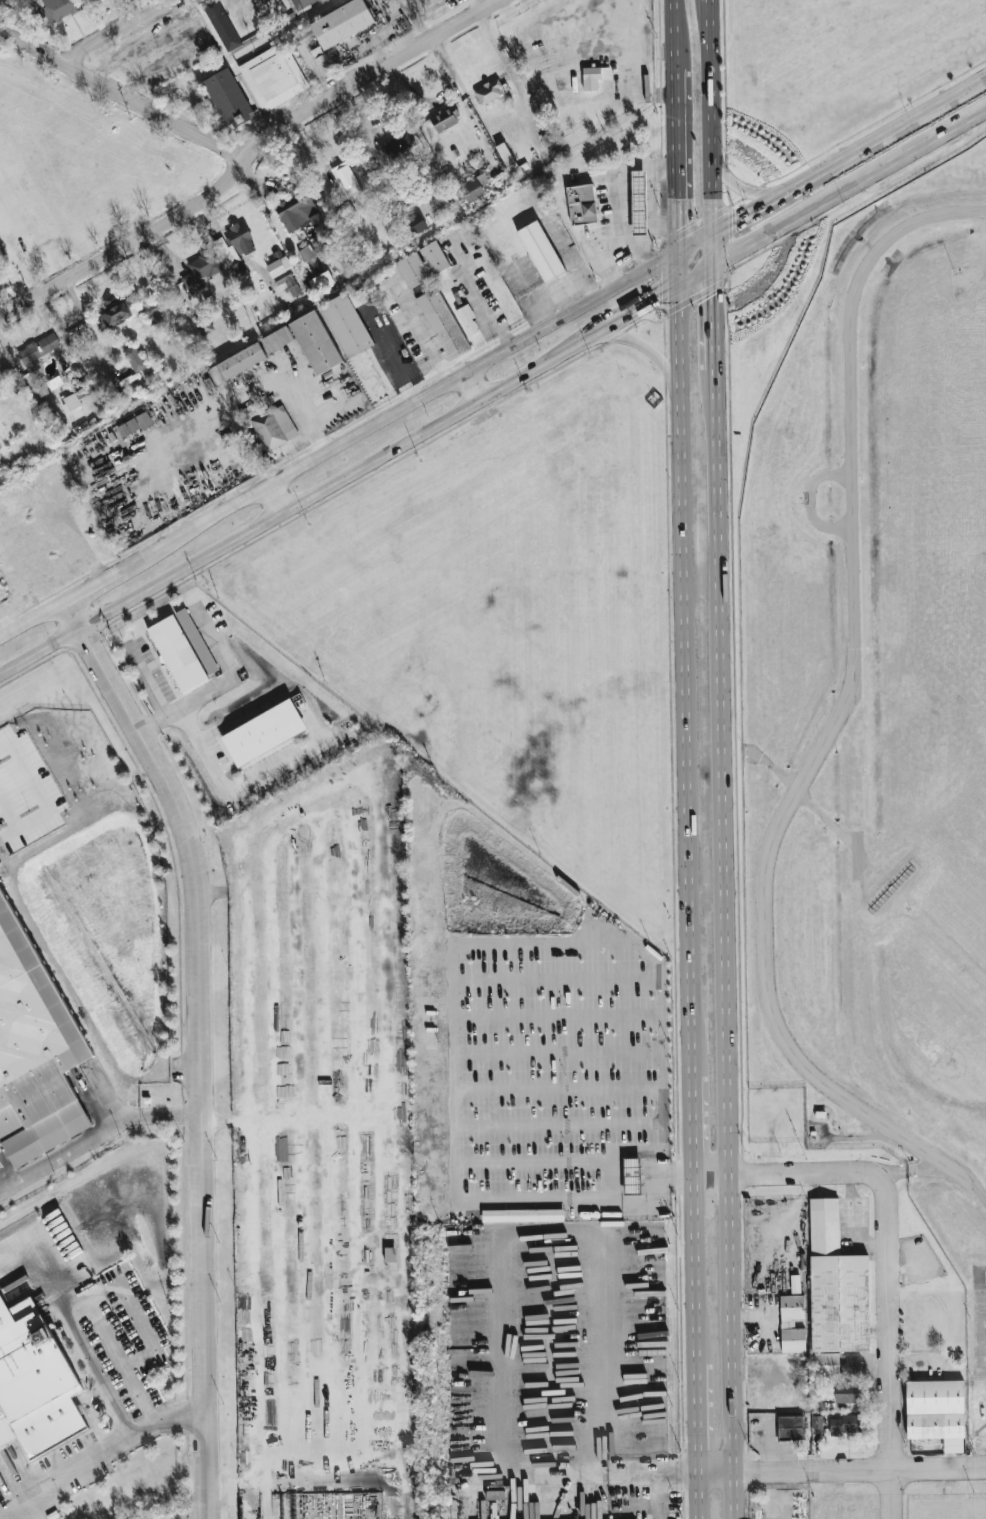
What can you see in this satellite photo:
building: (90, 1)
building: (300, 3)
building: (58, 8)
road: (704, 9)
building: (339, 22)
road: (189, 27)
road: (674, 28)
road: (118, 32)
building: (322, 61)
road: (126, 69)
building: (248, 72)
building: (594, 76)
road: (713, 83)
building: (490, 90)
road: (122, 95)
road: (940, 103)
building: (444, 118)
building: (398, 144)
road: (676, 153)
road: (250, 158)
building: (508, 159)
road: (839, 160)
building: (345, 178)
road: (713, 184)
building: (472, 189)
road: (745, 191)
road: (831, 194)
road: (617, 196)
building: (643, 204)
gas station: (643, 204)
building: (586, 206)
road: (652, 206)
road: (749, 210)
building: (300, 212)
road: (713, 215)
building: (414, 222)
traffic signals: (714, 229)
road: (652, 237)
building: (240, 238)
road: (714, 245)
building: (546, 250)
traffic signals: (678, 250)
building: (306, 252)
building: (439, 259)
road: (603, 259)
traffic signals: (715, 261)
building: (201, 268)
road: (678, 268)
building: (238, 269)
building: (418, 272)
building: (320, 279)
building: (287, 281)
traffic signals: (679, 286)
road: (643, 307)
building: (154, 309)
road: (481, 310)
building: (117, 313)
road: (717, 315)
building: (472, 321)
building: (352, 323)
building: (447, 325)
building: (282, 343)
building: (320, 345)
road: (643, 347)
building: (37, 351)
building: (133, 358)
building: (246, 364)
road: (473, 387)
building: (1, 391)
building: (79, 398)
building: (137, 422)
building: (272, 431)
road: (357, 436)
building: (0, 471)
road: (276, 499)
road: (302, 500)
road: (810, 501)
building: (196, 640)
building: (177, 653)
road: (686, 674)
road: (145, 680)
road: (225, 685)
airport: (877, 715)
road: (834, 719)
building: (263, 732)
road: (239, 789)
road: (734, 943)
road: (447, 951)
building: (34, 1030)
road: (202, 1044)
road: (695, 1117)
road: (292, 1118)
road: (97, 1140)
road: (928, 1169)
road: (819, 1171)
road: (726, 1172)
building: (632, 1175)
road: (892, 1175)
building: (522, 1214)
road: (696, 1265)
building: (835, 1293)
road: (500, 1294)
road: (65, 1302)
building: (792, 1323)
road: (148, 1332)
road: (110, 1345)
road: (889, 1348)
building: (850, 1366)
road: (98, 1368)
building: (35, 1381)
building: (848, 1393)
road: (697, 1415)
building: (936, 1418)
building: (817, 1422)
building: (845, 1424)
building: (791, 1428)
road: (101, 1450)
road: (873, 1470)
road: (729, 1473)
road: (698, 1496)
road: (670, 1501)

